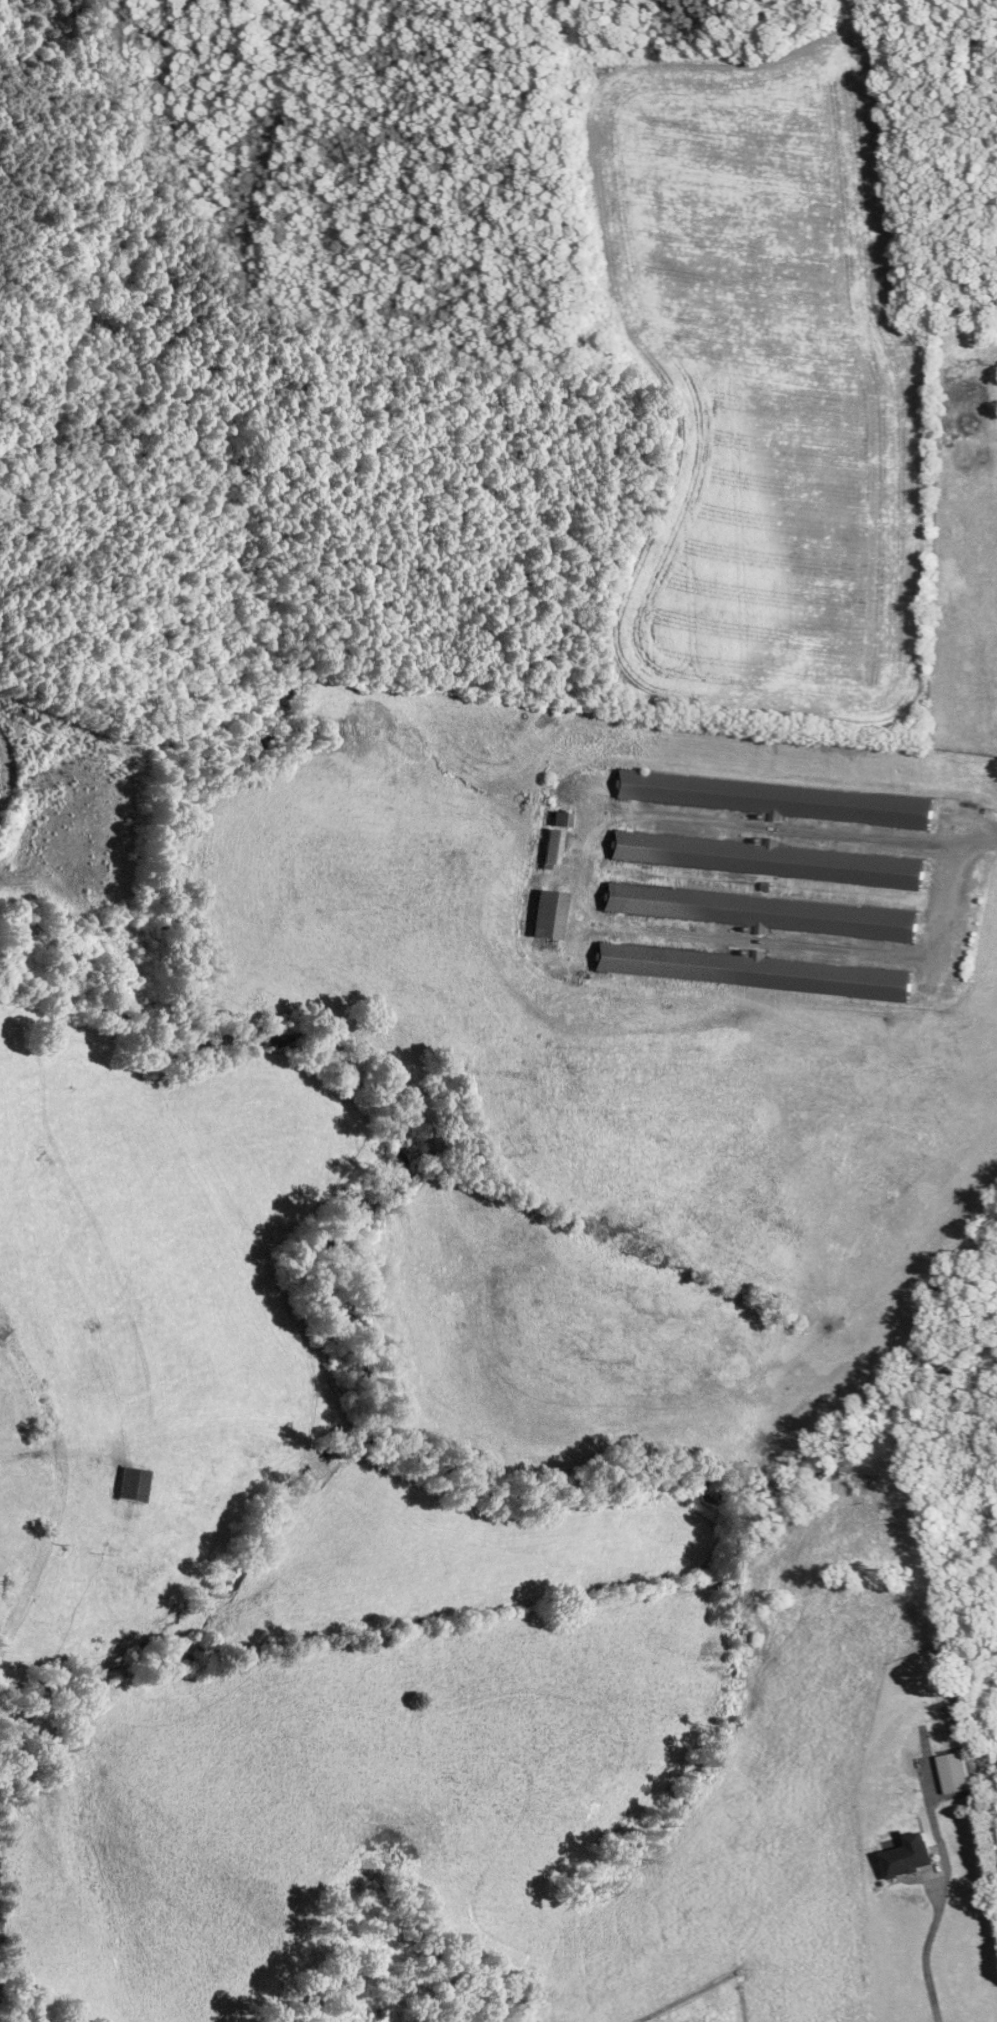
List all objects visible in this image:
building: (779, 799)
building: (556, 838)
building: (765, 859)
road: (947, 885)
building: (765, 912)
building: (550, 914)
building: (754, 971)
building: (132, 1485)
road: (56, 1582)
building: (956, 1774)
building: (912, 1858)
road: (925, 1951)

